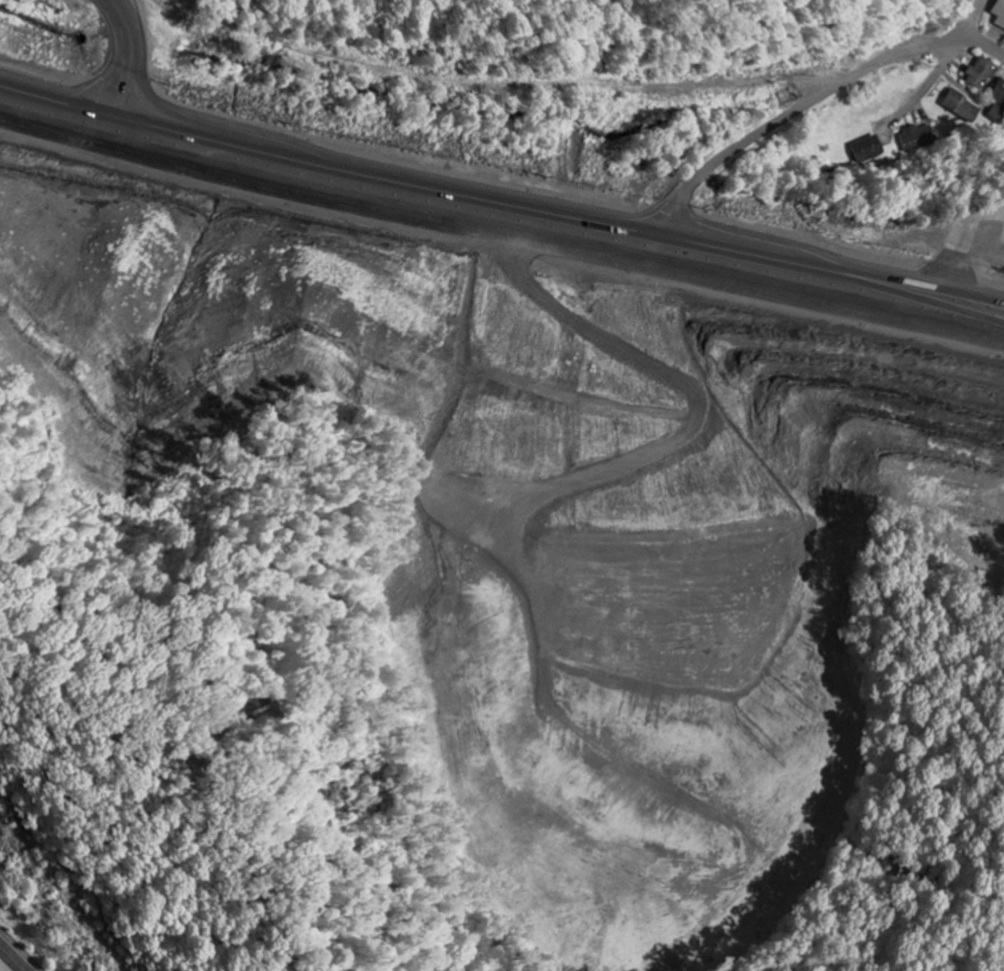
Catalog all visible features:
building: (977, 0)
building: (999, 13)
road: (968, 20)
road: (978, 40)
road: (124, 54)
building: (980, 74)
building: (998, 104)
building: (961, 108)
road: (792, 112)
road: (134, 113)
building: (916, 139)
building: (867, 150)
road: (636, 216)
road: (13, 959)

